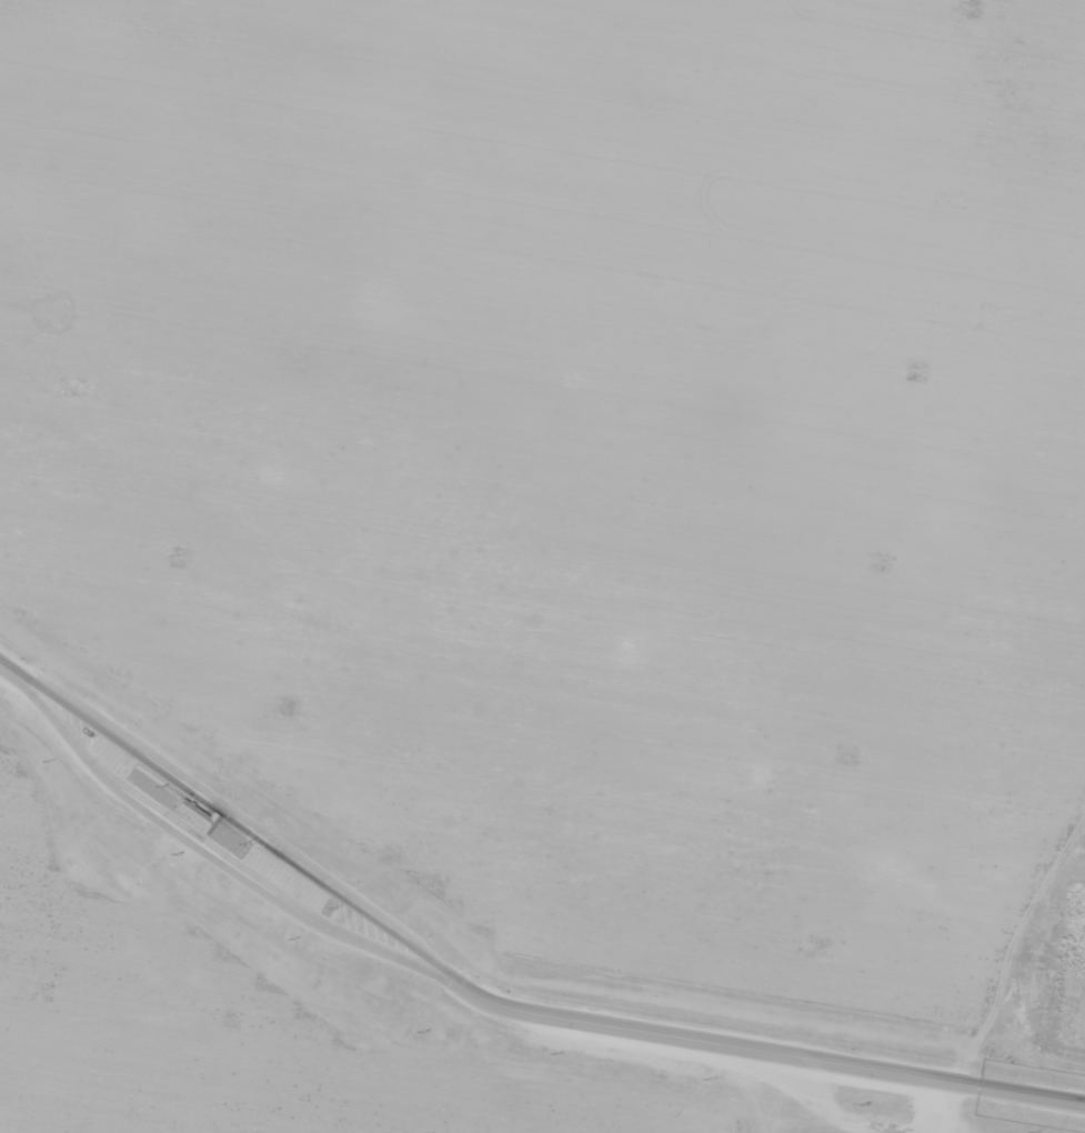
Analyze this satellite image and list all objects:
road: (493, 1003)

